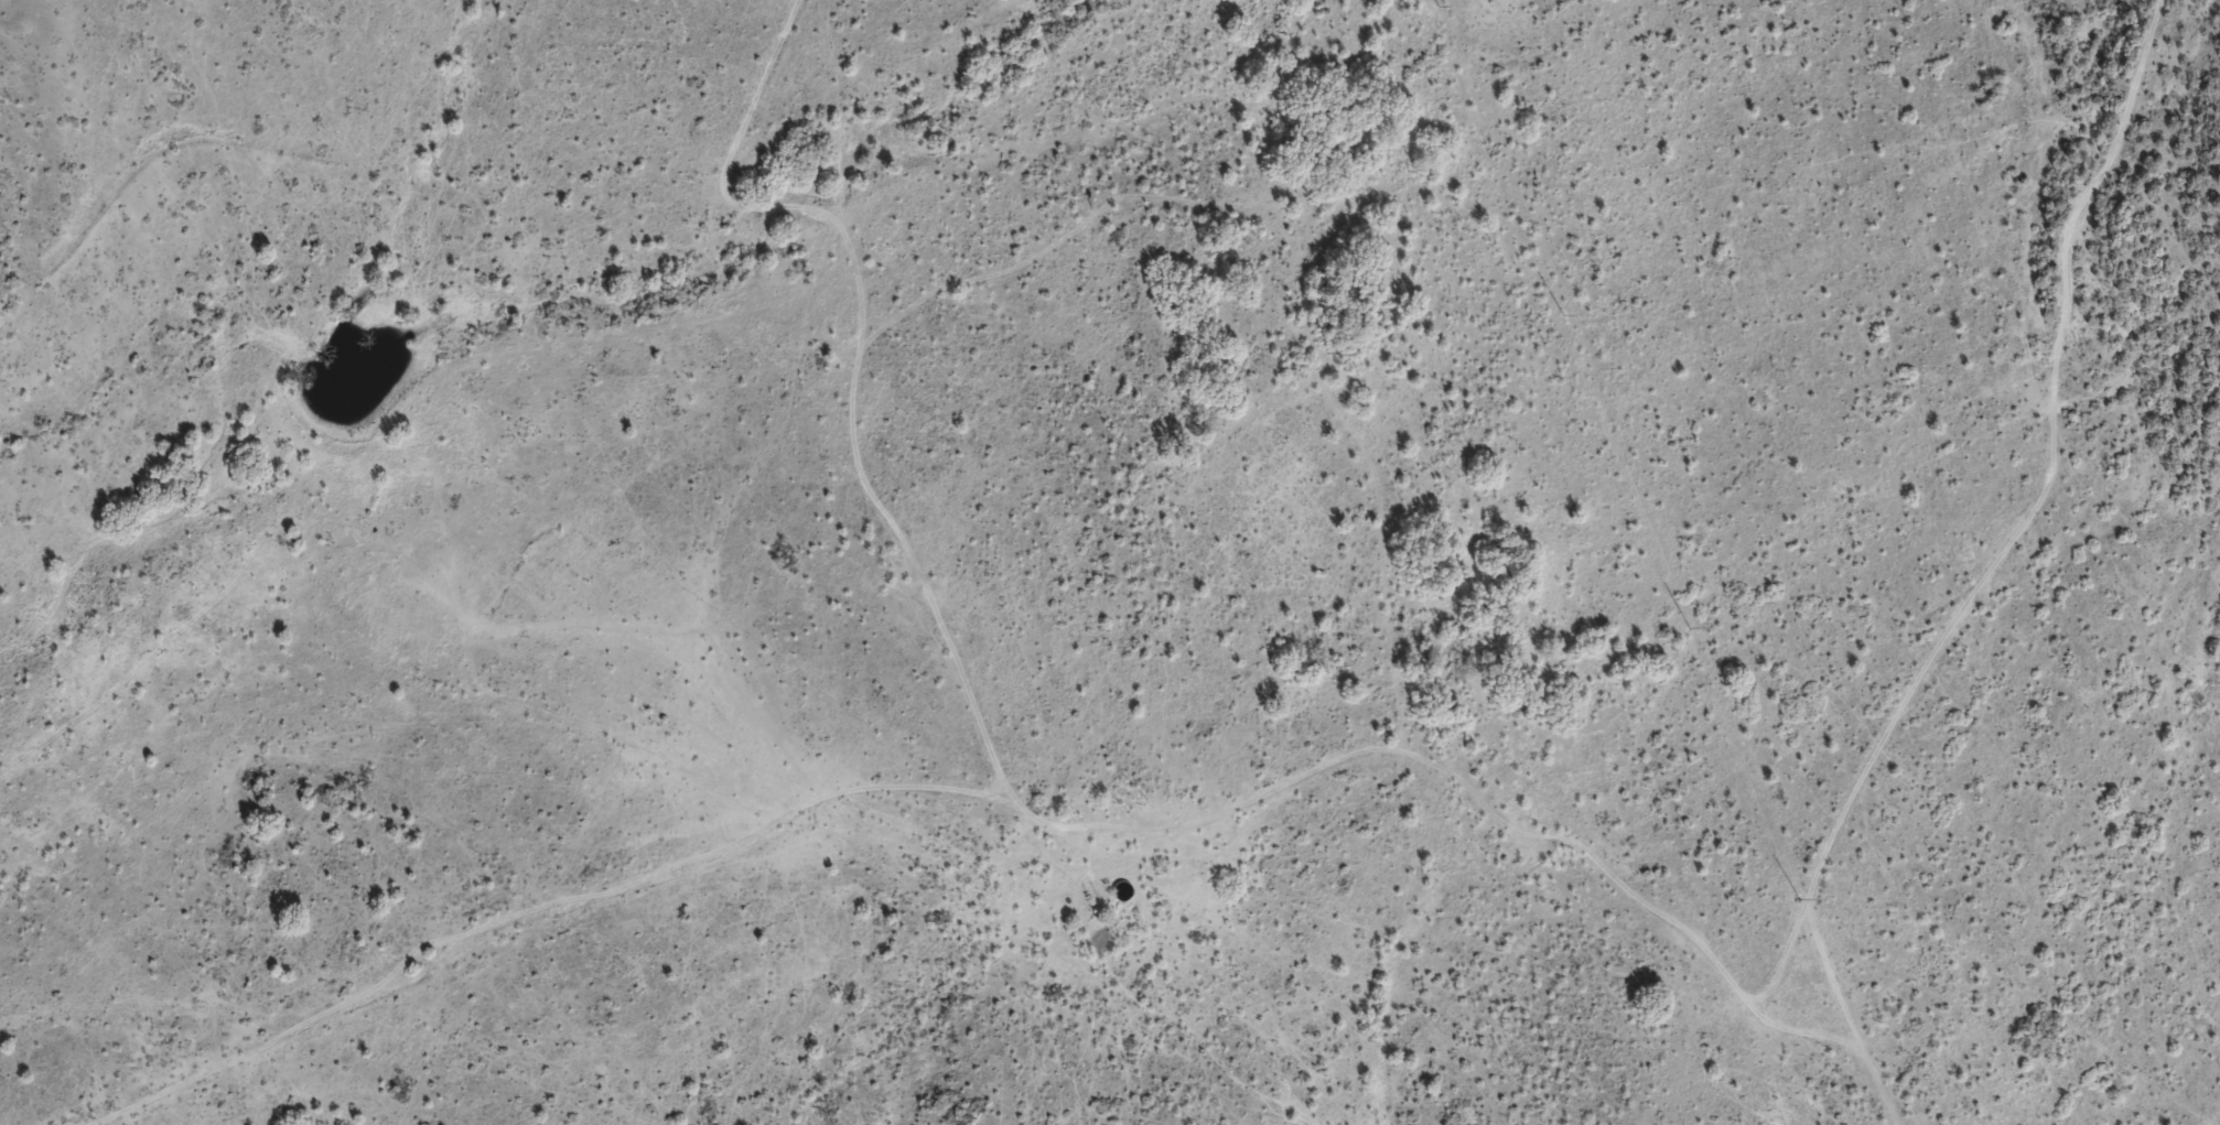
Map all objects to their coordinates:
power tower: (1436, 6)
power tower: (1566, 317)
power tower: (1690, 625)
road: (980, 864)
power tower: (1797, 899)

